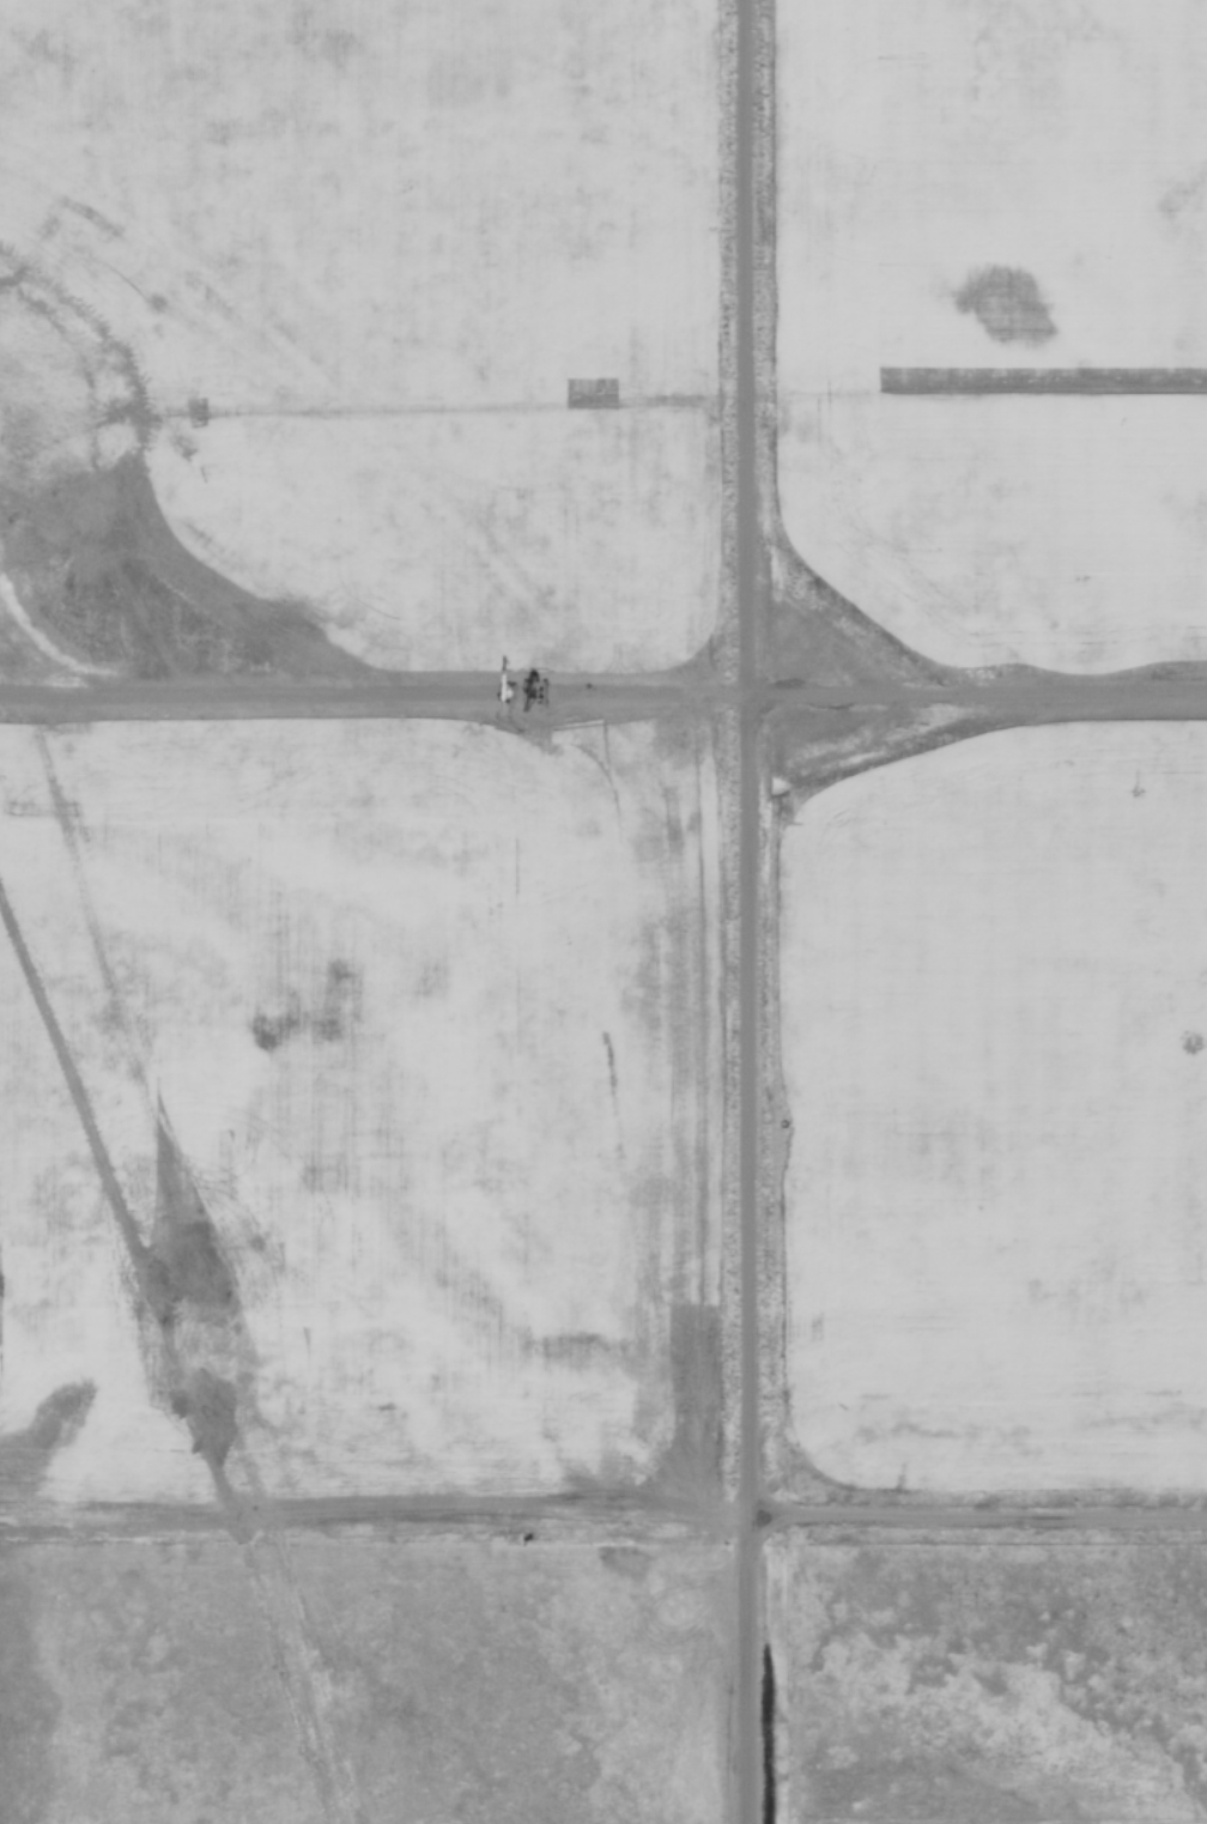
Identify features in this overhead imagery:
road: (748, 757)
road: (978, 1516)

